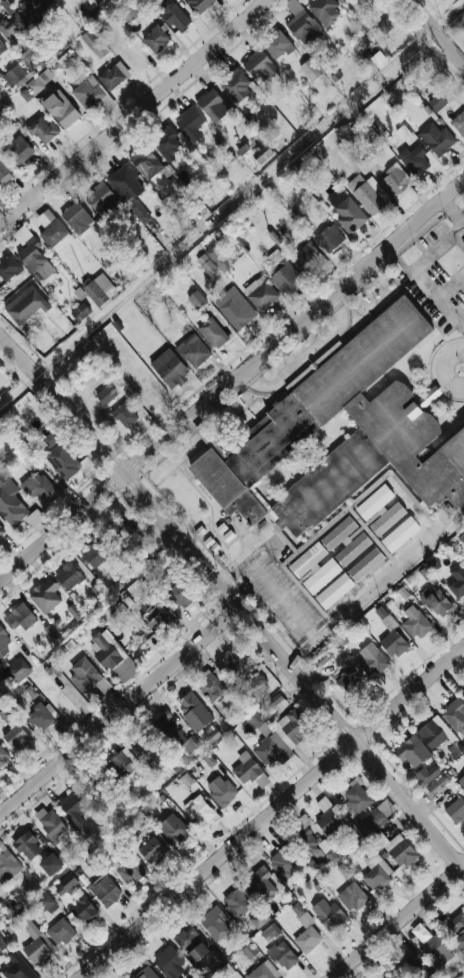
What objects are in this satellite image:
building: (148, 0)
building: (340, 0)
building: (200, 5)
building: (34, 8)
building: (325, 11)
building: (127, 12)
building: (175, 17)
building: (301, 22)
building: (12, 24)
road: (436, 31)
building: (157, 39)
building: (94, 44)
building: (277, 45)
building: (2, 48)
building: (379, 60)
building: (259, 64)
building: (310, 70)
building: (49, 74)
building: (14, 75)
building: (114, 76)
power tower: (377, 80)
building: (236, 86)
building: (88, 93)
building: (437, 102)
building: (107, 103)
building: (213, 106)
building: (61, 109)
road: (134, 113)
building: (459, 123)
building: (190, 124)
building: (42, 130)
building: (437, 139)
building: (166, 142)
building: (20, 151)
building: (262, 154)
building: (413, 160)
building: (146, 163)
building: (4, 169)
building: (395, 180)
building: (126, 184)
building: (368, 194)
building: (101, 199)
building: (139, 212)
building: (347, 212)
road: (451, 213)
building: (77, 218)
road: (463, 227)
building: (53, 232)
building: (329, 238)
power tower: (184, 244)
building: (32, 254)
building: (308, 259)
building: (213, 261)
building: (7, 269)
road: (415, 274)
building: (285, 276)
road: (450, 288)
building: (99, 289)
building: (261, 295)
building: (196, 300)
building: (25, 305)
building: (235, 308)
building: (80, 312)
road: (102, 317)
building: (213, 333)
building: (193, 351)
road: (303, 359)
building: (170, 368)
road: (439, 369)
road: (232, 380)
building: (106, 395)
building: (428, 397)
building: (124, 415)
building: (394, 418)
building: (21, 455)
building: (60, 457)
building: (37, 487)
building: (10, 502)
building: (374, 503)
building: (387, 519)
building: (124, 526)
building: (1, 531)
building: (338, 533)
building: (400, 535)
building: (462, 538)
building: (352, 549)
building: (95, 555)
building: (367, 565)
building: (314, 569)
building: (424, 573)
building: (68, 577)
building: (457, 581)
building: (177, 589)
building: (97, 591)
building: (334, 591)
building: (45, 596)
parking lot: (281, 596)
road: (280, 598)
road: (233, 601)
building: (436, 602)
building: (74, 613)
building: (153, 615)
building: (20, 617)
building: (416, 623)
building: (50, 633)
building: (4, 641)
building: (394, 644)
building: (111, 656)
building: (372, 658)
building: (239, 661)
building: (19, 672)
building: (2, 676)
building: (84, 676)
building: (347, 680)
building: (259, 684)
building: (211, 686)
building: (463, 692)
building: (74, 698)
building: (278, 702)
road: (118, 707)
building: (194, 711)
building: (41, 716)
building: (455, 716)
building: (166, 723)
building: (15, 731)
building: (209, 734)
building: (438, 736)
building: (282, 738)
building: (141, 745)
building: (412, 752)
building: (3, 756)
building: (122, 763)
building: (249, 771)
building: (427, 774)
building: (186, 780)
building: (461, 780)
building: (91, 782)
building: (435, 787)
building: (221, 791)
building: (75, 805)
building: (366, 807)
building: (200, 810)
road: (272, 811)
building: (456, 811)
building: (328, 820)
building: (302, 822)
building: (51, 824)
building: (174, 830)
building: (313, 845)
building: (27, 846)
building: (396, 849)
building: (152, 852)
building: (283, 862)
building: (50, 864)
building: (7, 865)
building: (131, 871)
building: (376, 872)
building: (261, 883)
building: (0, 885)
building: (65, 885)
building: (104, 890)
building: (352, 897)
building: (238, 901)
building: (47, 903)
building: (85, 910)
building: (301, 915)
building: (328, 915)
building: (259, 919)
road: (398, 921)
building: (215, 924)
building: (455, 924)
building: (60, 932)
building: (269, 933)
building: (307, 940)
building: (460, 940)
building: (36, 942)
building: (2, 945)
building: (191, 945)
building: (434, 945)
building: (249, 951)
building: (283, 955)
building: (209, 961)
building: (168, 962)
building: (416, 966)
building: (17, 968)
building: (145, 969)
building: (264, 971)
building: (227, 972)
building: (390, 976)

